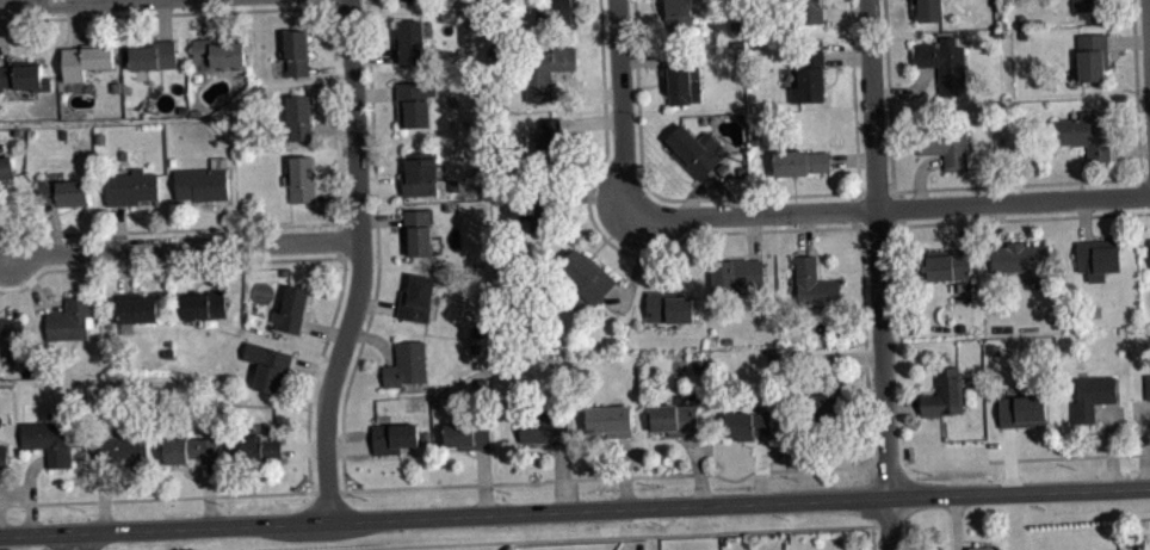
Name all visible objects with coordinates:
road: (50, 2)
building: (409, 4)
building: (1086, 4)
building: (929, 8)
building: (809, 10)
building: (554, 12)
building: (676, 13)
road: (1149, 20)
building: (409, 39)
building: (218, 51)
building: (295, 51)
building: (153, 54)
building: (1092, 55)
building: (85, 57)
building: (942, 61)
building: (545, 68)
building: (680, 74)
building: (23, 75)
building: (809, 76)
building: (414, 101)
road: (619, 107)
building: (298, 113)
building: (1083, 132)
building: (552, 140)
building: (944, 141)
building: (693, 147)
building: (799, 160)
building: (5, 166)
building: (420, 172)
building: (299, 178)
building: (203, 180)
building: (130, 186)
building: (63, 191)
road: (888, 206)
building: (539, 208)
building: (419, 229)
road: (181, 246)
building: (1149, 246)
road: (874, 248)
building: (1019, 255)
building: (1098, 257)
road: (358, 260)
building: (948, 262)
building: (737, 273)
building: (585, 274)
building: (814, 283)
building: (418, 296)
building: (203, 303)
building: (667, 305)
building: (136, 307)
building: (291, 307)
building: (69, 317)
building: (10, 332)
building: (407, 361)
building: (268, 364)
building: (1148, 384)
building: (944, 391)
building: (829, 395)
building: (1092, 395)
building: (1022, 409)
building: (674, 418)
building: (607, 420)
building: (544, 422)
building: (746, 422)
building: (468, 433)
building: (394, 434)
building: (48, 440)
building: (120, 446)
building: (256, 446)
building: (188, 447)
building: (4, 456)
road: (1069, 457)
road: (465, 483)
road: (574, 507)
road: (886, 509)
road: (889, 536)
road: (599, 537)
road: (871, 537)
road: (82, 539)
road: (67, 540)
building: (983, 548)

